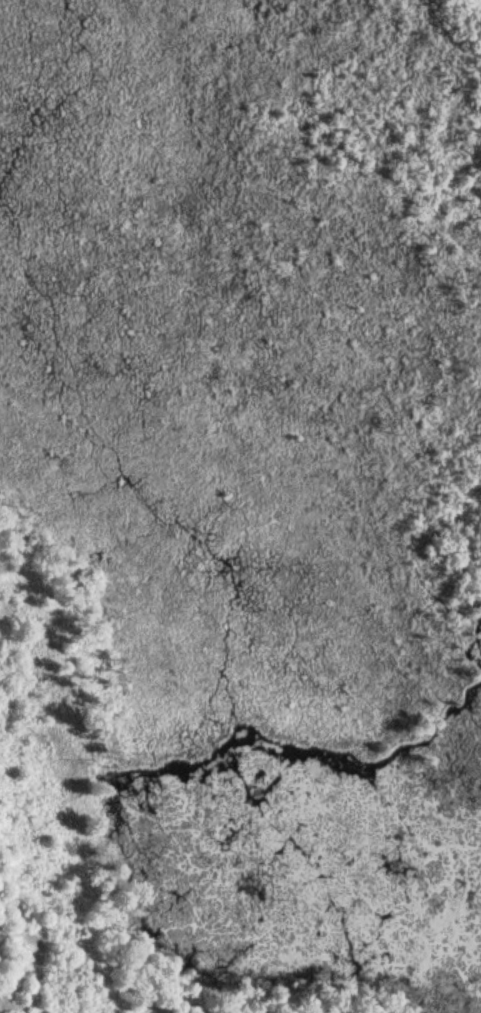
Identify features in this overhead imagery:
road: (4, 1008)

